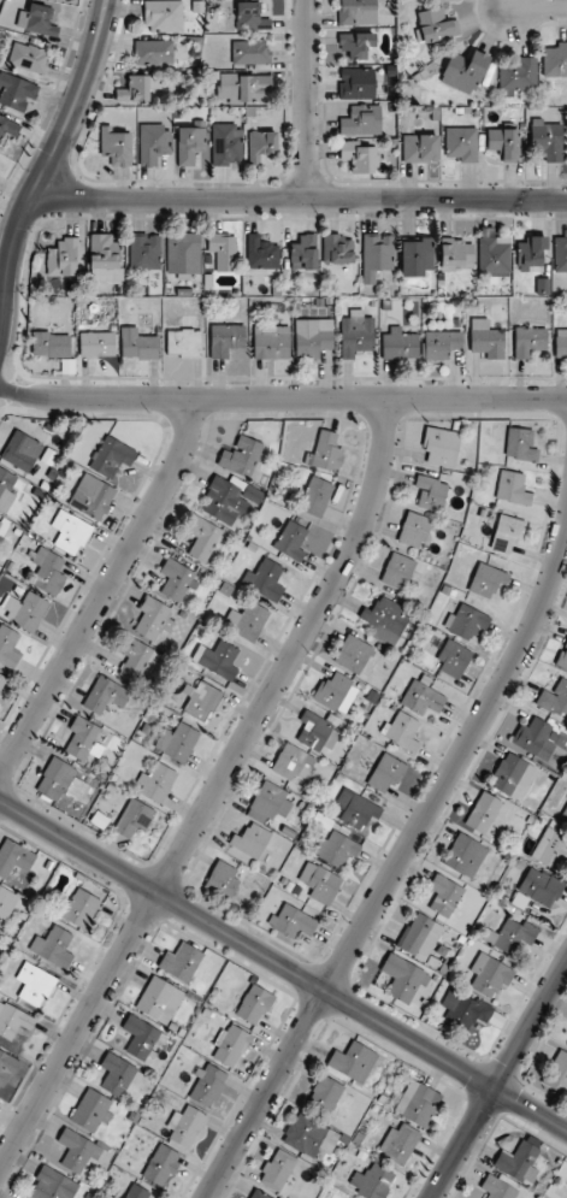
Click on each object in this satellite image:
road: (537, 8)
building: (358, 12)
building: (164, 16)
building: (250, 17)
building: (37, 19)
building: (435, 25)
building: (358, 43)
building: (154, 52)
building: (250, 52)
building: (28, 57)
building: (555, 60)
building: (463, 71)
building: (518, 76)
building: (356, 83)
building: (243, 87)
building: (138, 88)
building: (16, 92)
road: (308, 96)
building: (8, 129)
building: (548, 140)
building: (153, 142)
building: (190, 142)
building: (461, 142)
building: (226, 143)
building: (503, 143)
building: (261, 144)
building: (116, 146)
building: (420, 147)
building: (359, 157)
road: (45, 170)
road: (300, 194)
building: (338, 249)
building: (144, 250)
building: (223, 250)
building: (303, 252)
building: (530, 252)
building: (183, 253)
building: (261, 253)
building: (456, 253)
building: (492, 253)
building: (377, 254)
building: (560, 254)
building: (104, 256)
building: (417, 256)
building: (64, 258)
building: (356, 334)
building: (313, 337)
building: (225, 338)
building: (486, 338)
building: (528, 341)
building: (183, 342)
building: (272, 342)
building: (561, 342)
building: (98, 343)
building: (441, 343)
building: (51, 344)
building: (138, 344)
building: (400, 344)
road: (282, 400)
building: (520, 444)
building: (441, 445)
building: (22, 450)
building: (325, 452)
building: (241, 455)
building: (112, 458)
building: (512, 488)
building: (6, 491)
building: (431, 492)
building: (91, 496)
building: (314, 496)
building: (223, 500)
building: (0, 523)
building: (414, 529)
building: (70, 532)
building: (507, 532)
building: (201, 537)
building: (290, 539)
building: (48, 571)
building: (397, 571)
building: (177, 579)
building: (264, 579)
building: (488, 580)
road: (105, 594)
building: (26, 610)
building: (153, 618)
building: (246, 620)
building: (385, 620)
building: (466, 621)
building: (8, 648)
building: (131, 654)
building: (353, 654)
building: (562, 656)
building: (217, 659)
building: (454, 659)
building: (1, 679)
building: (336, 692)
building: (104, 695)
building: (200, 698)
building: (423, 698)
building: (555, 698)
building: (154, 706)
building: (165, 713)
building: (146, 728)
building: (403, 731)
building: (318, 732)
building: (83, 738)
building: (534, 738)
building: (176, 742)
building: (293, 762)
building: (385, 773)
building: (512, 773)
building: (113, 778)
building: (60, 780)
building: (156, 781)
building: (110, 787)
road: (217, 791)
building: (267, 799)
building: (356, 809)
building: (483, 813)
building: (565, 815)
building: (99, 819)
building: (132, 819)
building: (252, 839)
building: (336, 849)
building: (551, 849)
building: (465, 855)
building: (14, 857)
road: (397, 867)
building: (222, 880)
building: (320, 883)
building: (541, 886)
building: (444, 895)
building: (7, 902)
building: (81, 909)
building: (293, 921)
building: (420, 936)
building: (53, 946)
building: (181, 962)
road: (283, 966)
building: (489, 975)
building: (403, 978)
building: (35, 984)
building: (159, 999)
building: (253, 1005)
building: (465, 1009)
building: (13, 1021)
building: (141, 1038)
building: (230, 1045)
building: (352, 1060)
building: (7, 1067)
building: (559, 1073)
building: (119, 1075)
road: (498, 1079)
building: (207, 1086)
building: (325, 1093)
building: (417, 1103)
building: (91, 1111)
building: (185, 1126)
building: (311, 1135)
building: (400, 1143)
building: (77, 1150)
building: (519, 1162)
building: (160, 1165)
building: (277, 1170)
building: (372, 1181)
building: (53, 1185)
building: (497, 1187)
building: (137, 1192)
building: (259, 1194)

